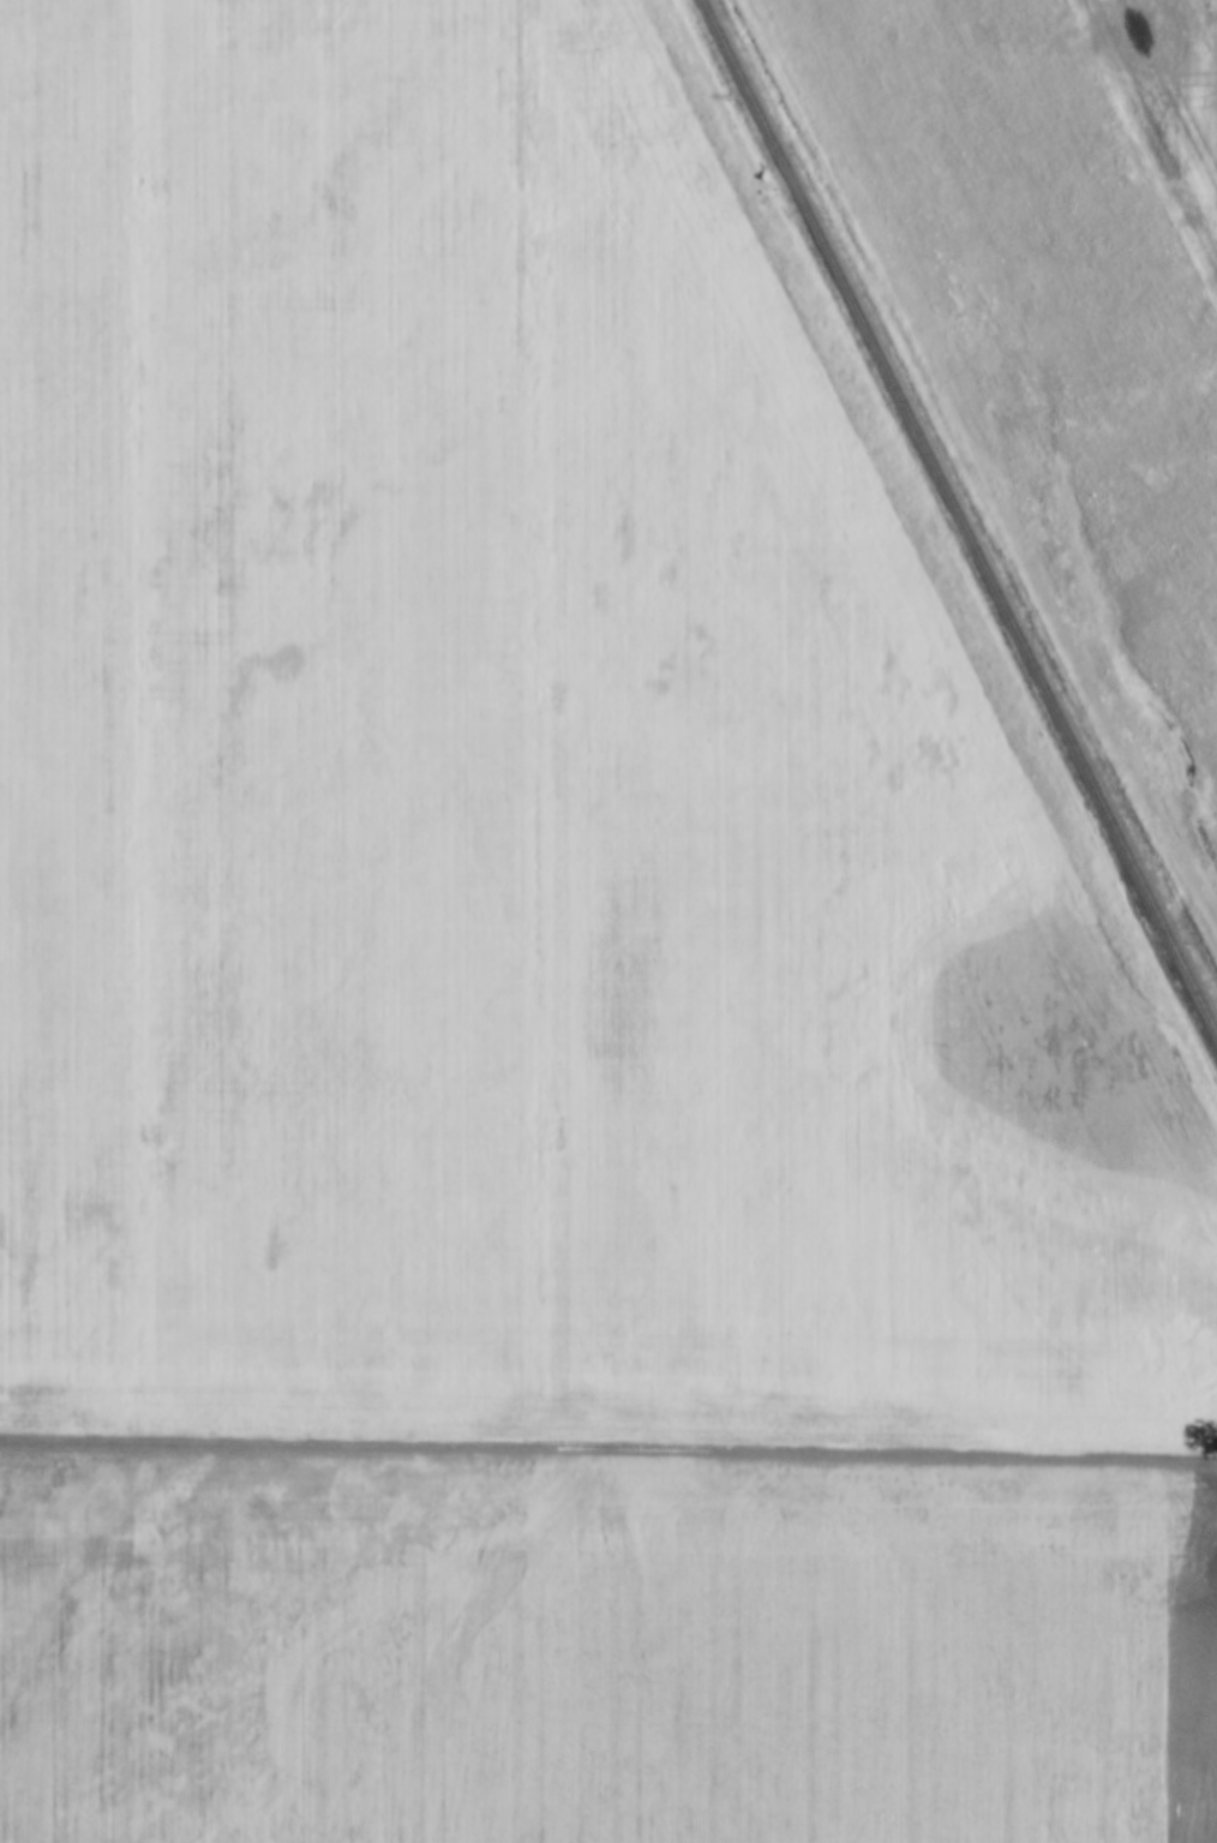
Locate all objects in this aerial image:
railway: (958, 520)
road: (608, 1448)

